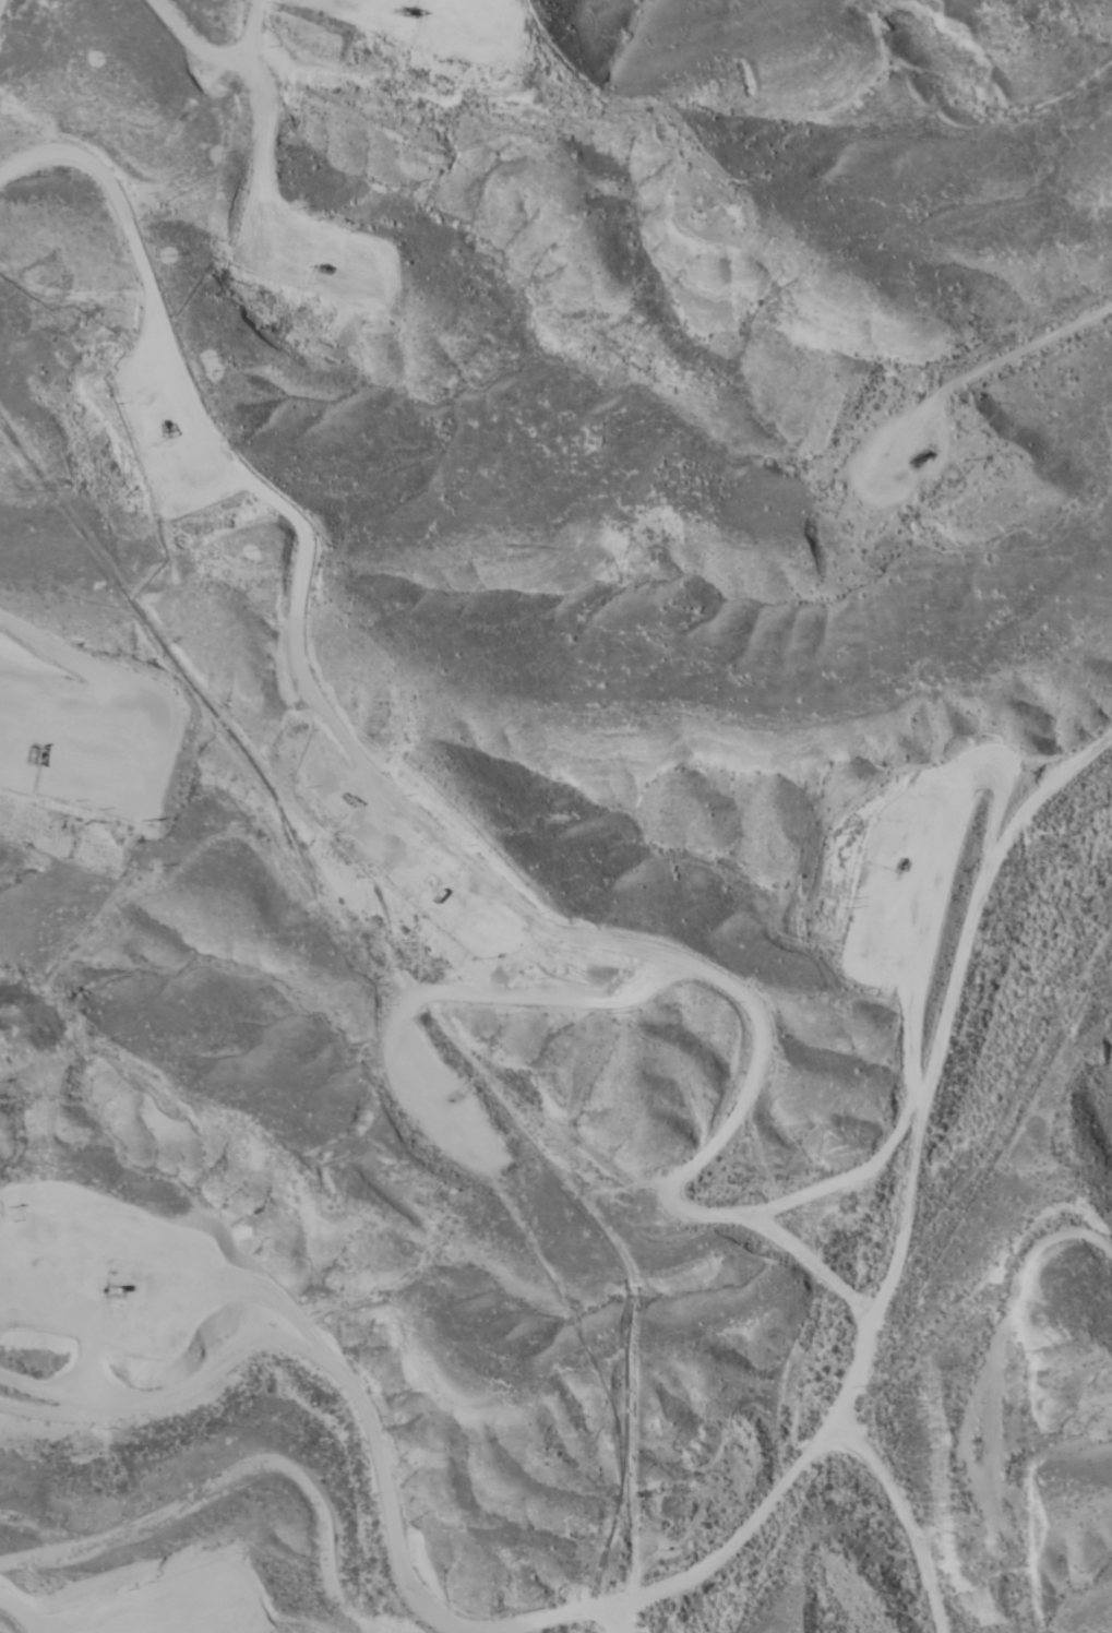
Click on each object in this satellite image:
road: (74, 1042)
road: (886, 1207)
road: (968, 1304)
road: (57, 1337)
road: (330, 1442)
road: (167, 1510)
road: (907, 1519)

